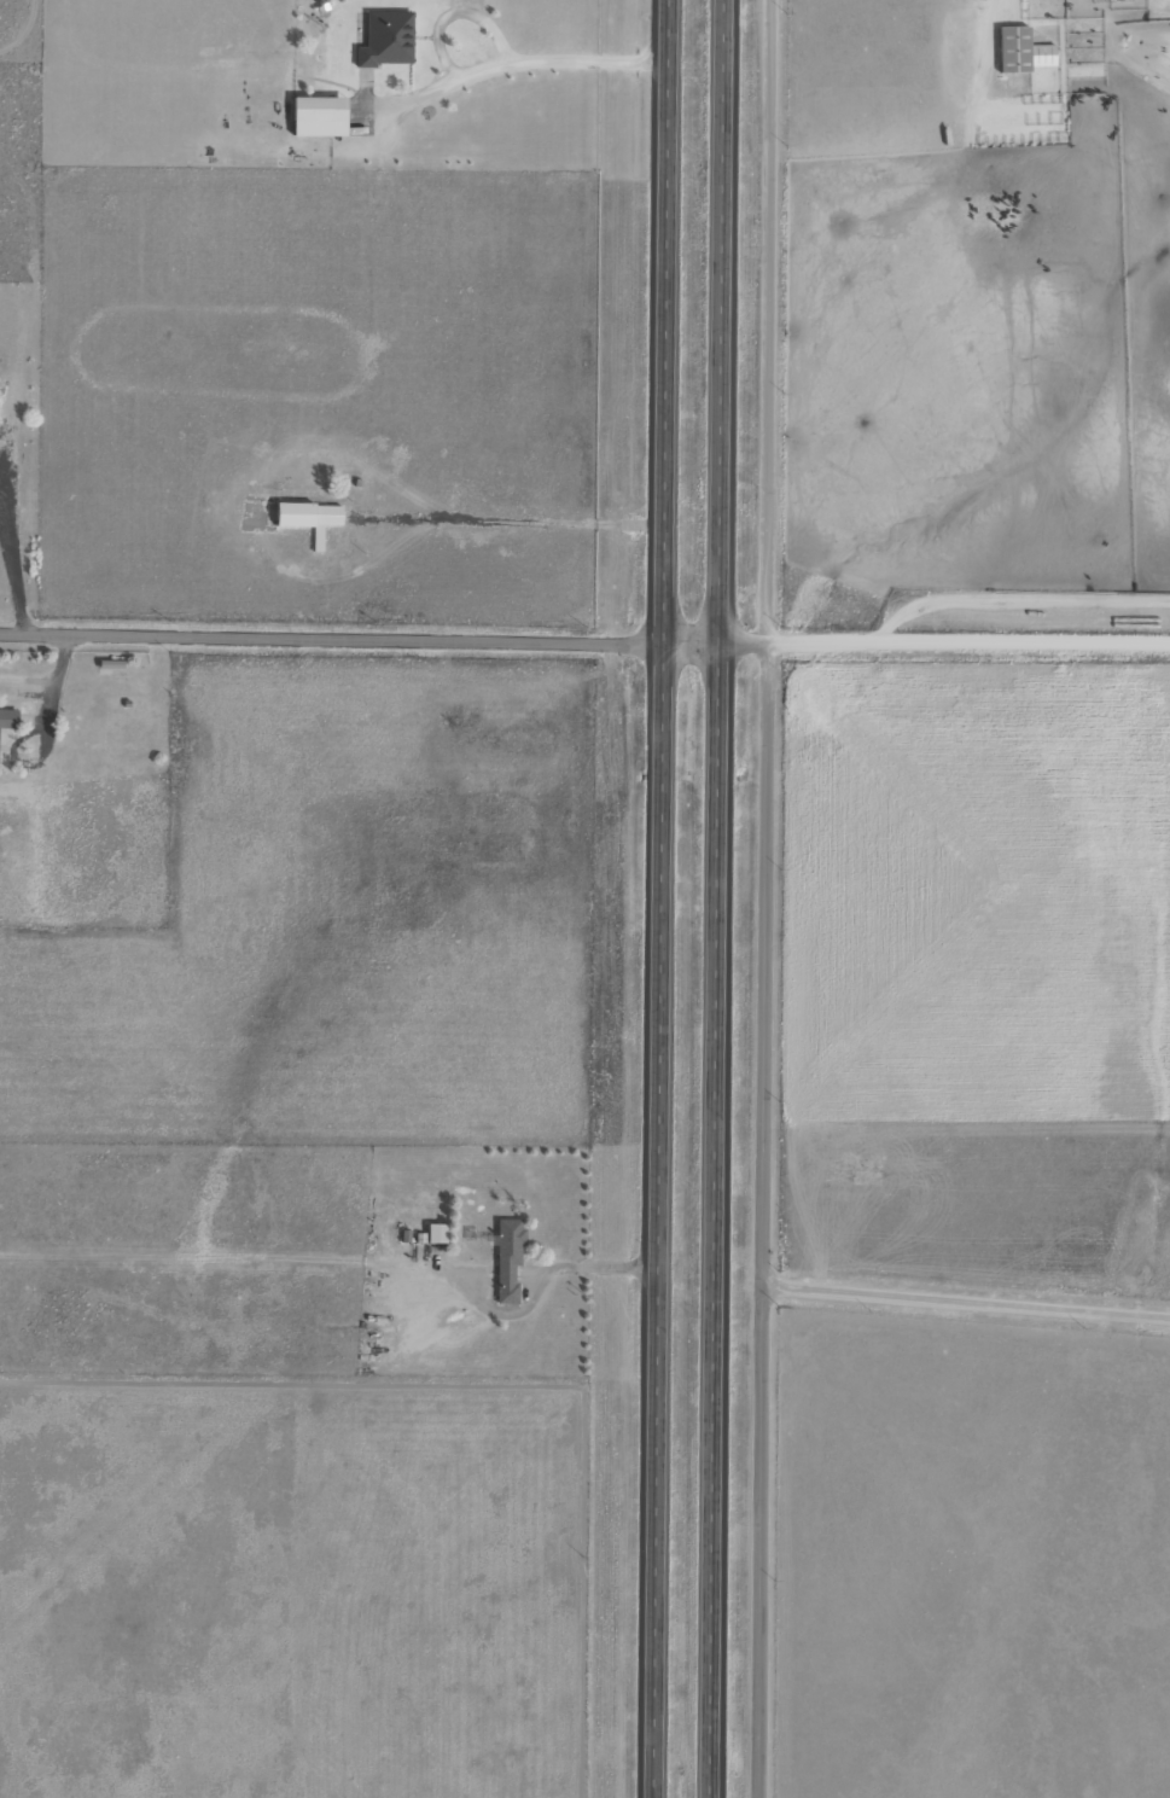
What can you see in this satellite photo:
building: (386, 40)
building: (1021, 52)
building: (319, 118)
building: (309, 518)
road: (584, 640)
building: (8, 718)
road: (652, 898)
road: (708, 898)
building: (437, 1234)
building: (508, 1259)
road: (937, 1317)

